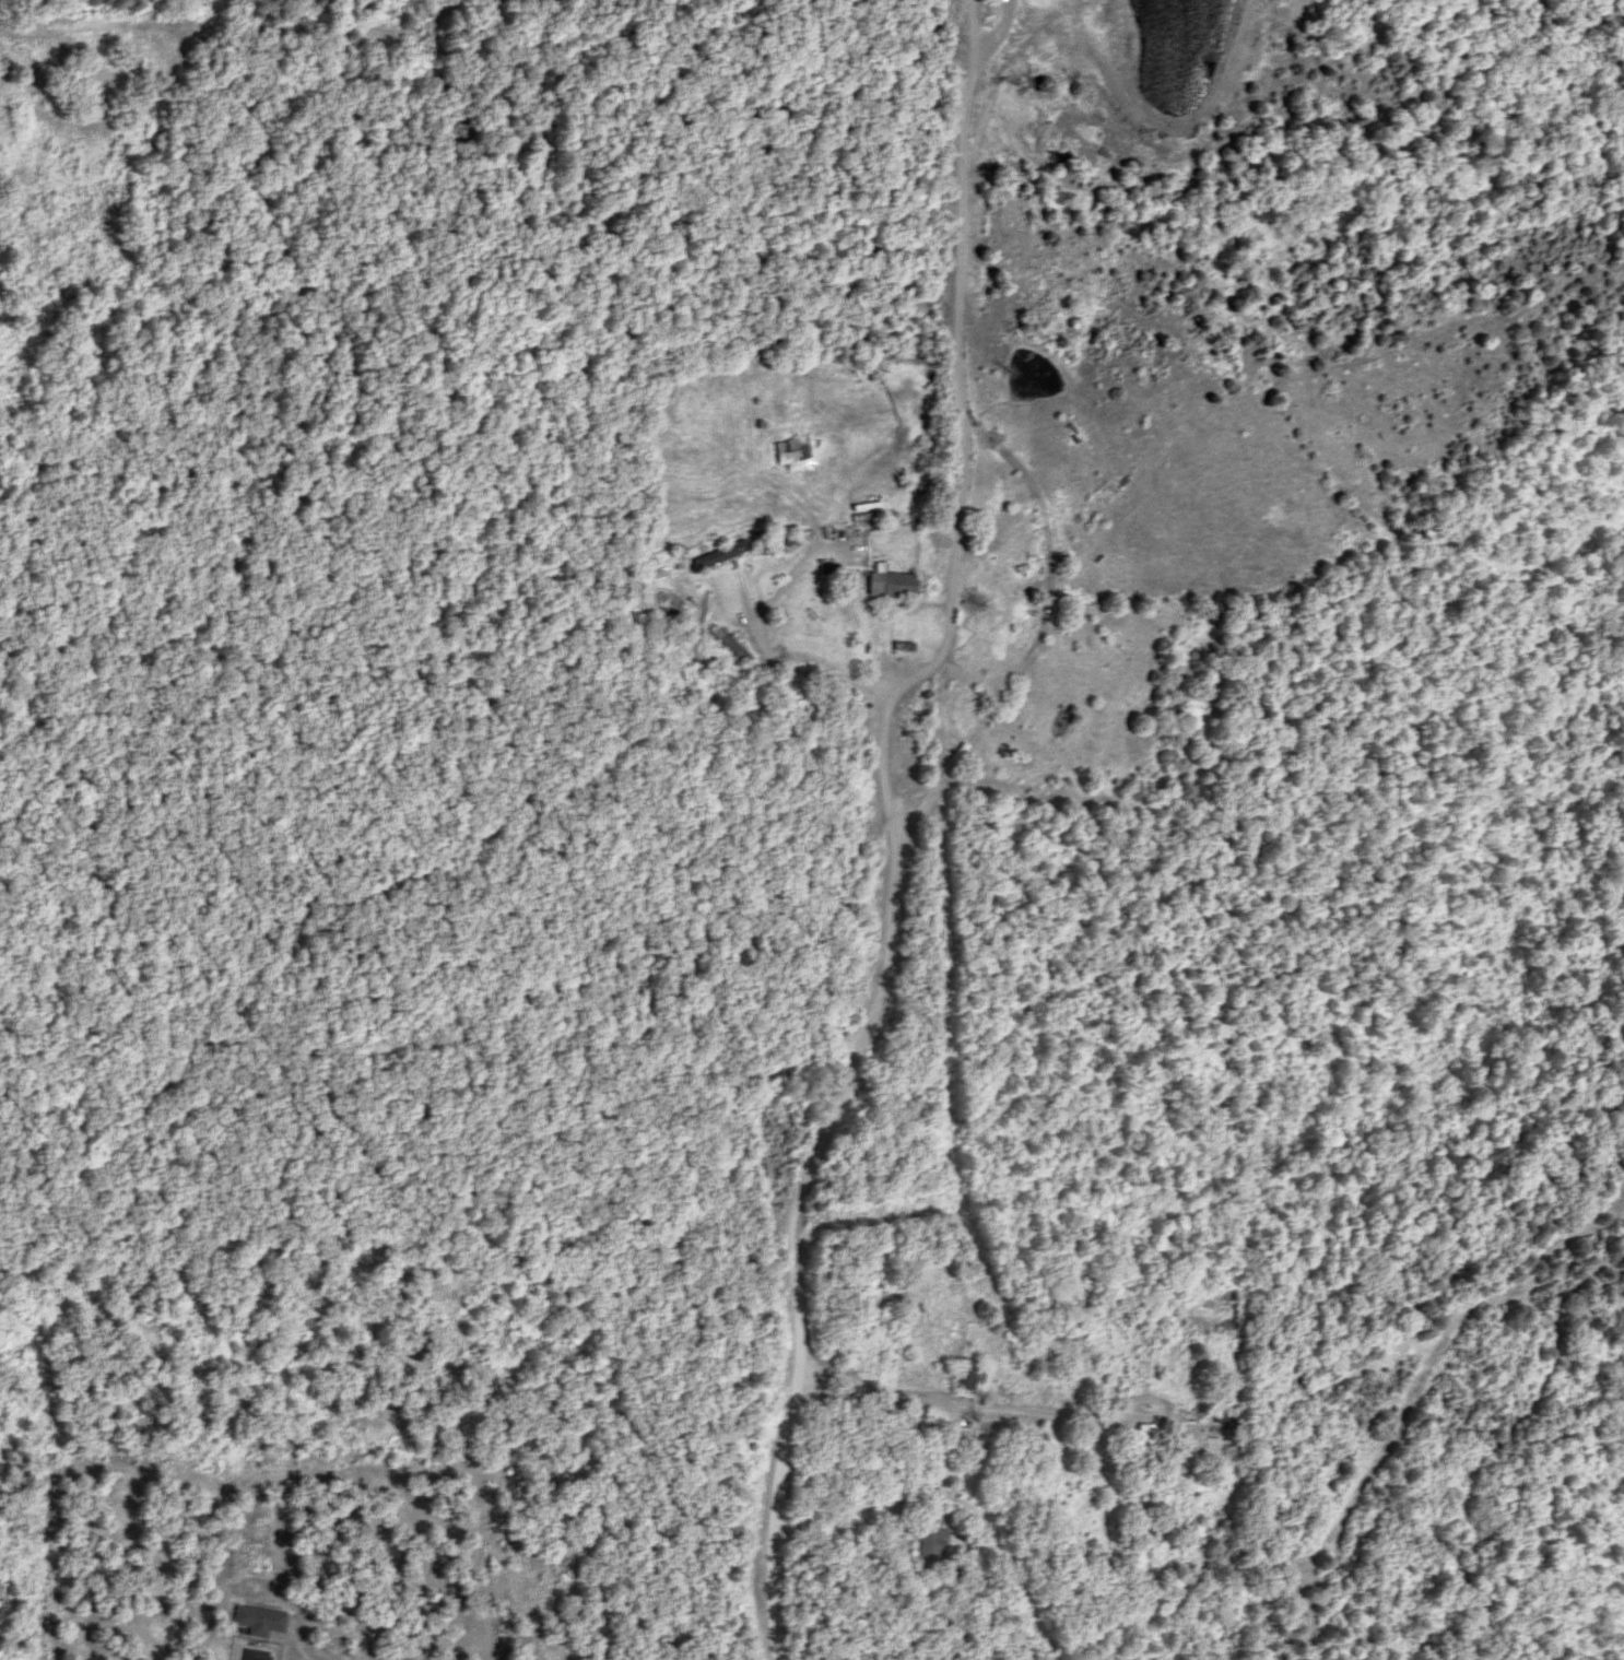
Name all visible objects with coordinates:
building: (787, 451)
building: (720, 554)
building: (891, 585)
building: (731, 645)
road: (816, 670)
building: (957, 680)
road: (883, 824)
building: (968, 1373)
road: (960, 1403)
building: (1150, 1437)
building: (933, 1544)
building: (260, 1618)

